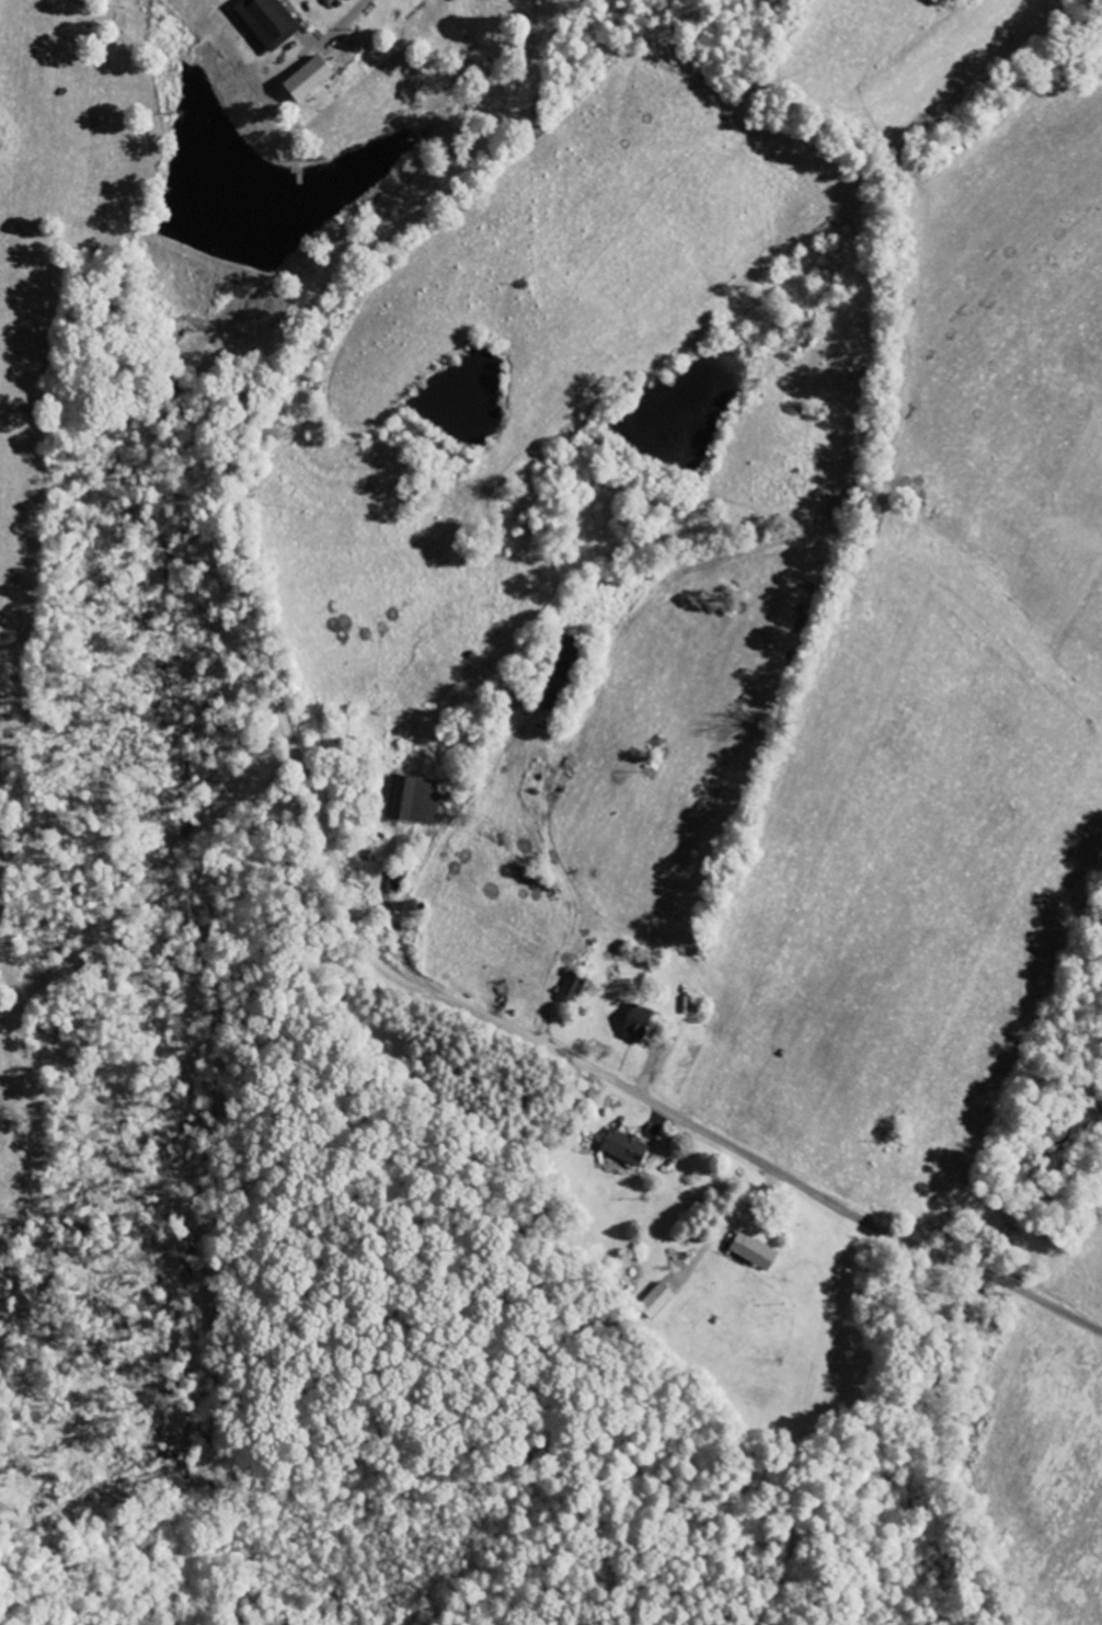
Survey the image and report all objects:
building: (271, 22)
building: (310, 80)
building: (563, 674)
building: (414, 799)
road: (320, 825)
building: (574, 987)
building: (640, 1023)
building: (628, 1147)
building: (756, 1251)
building: (657, 1301)

